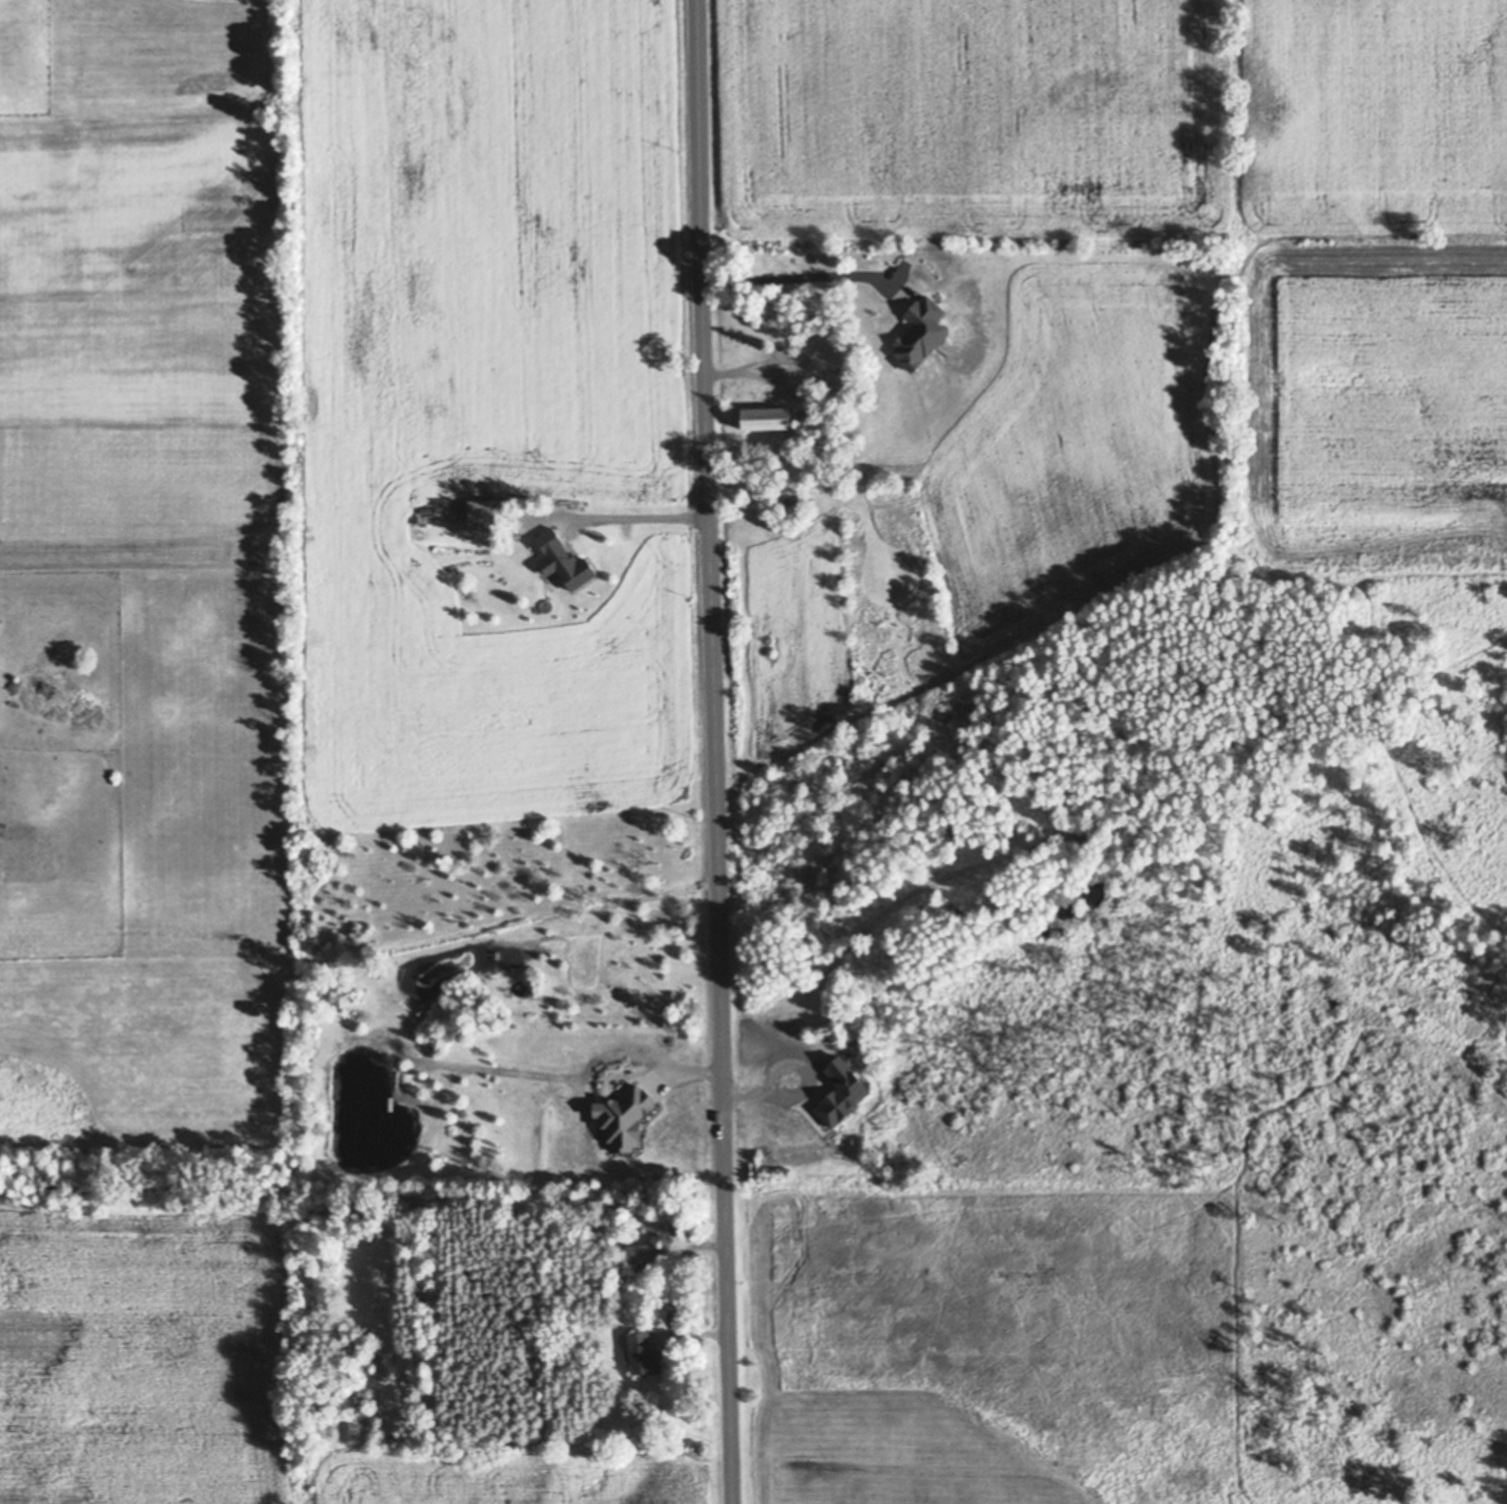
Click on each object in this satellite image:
road: (797, 277)
building: (777, 316)
building: (920, 332)
building: (766, 418)
building: (479, 510)
road: (638, 513)
building: (564, 560)
building: (549, 568)
building: (465, 602)
road: (715, 752)
building: (1219, 890)
building: (389, 952)
building: (853, 1068)
road: (800, 1092)
building: (842, 1093)
building: (587, 1110)
building: (626, 1116)
building: (601, 1128)
building: (604, 1220)
building: (590, 1231)
building: (607, 1247)
building: (643, 1256)
building: (643, 1354)

